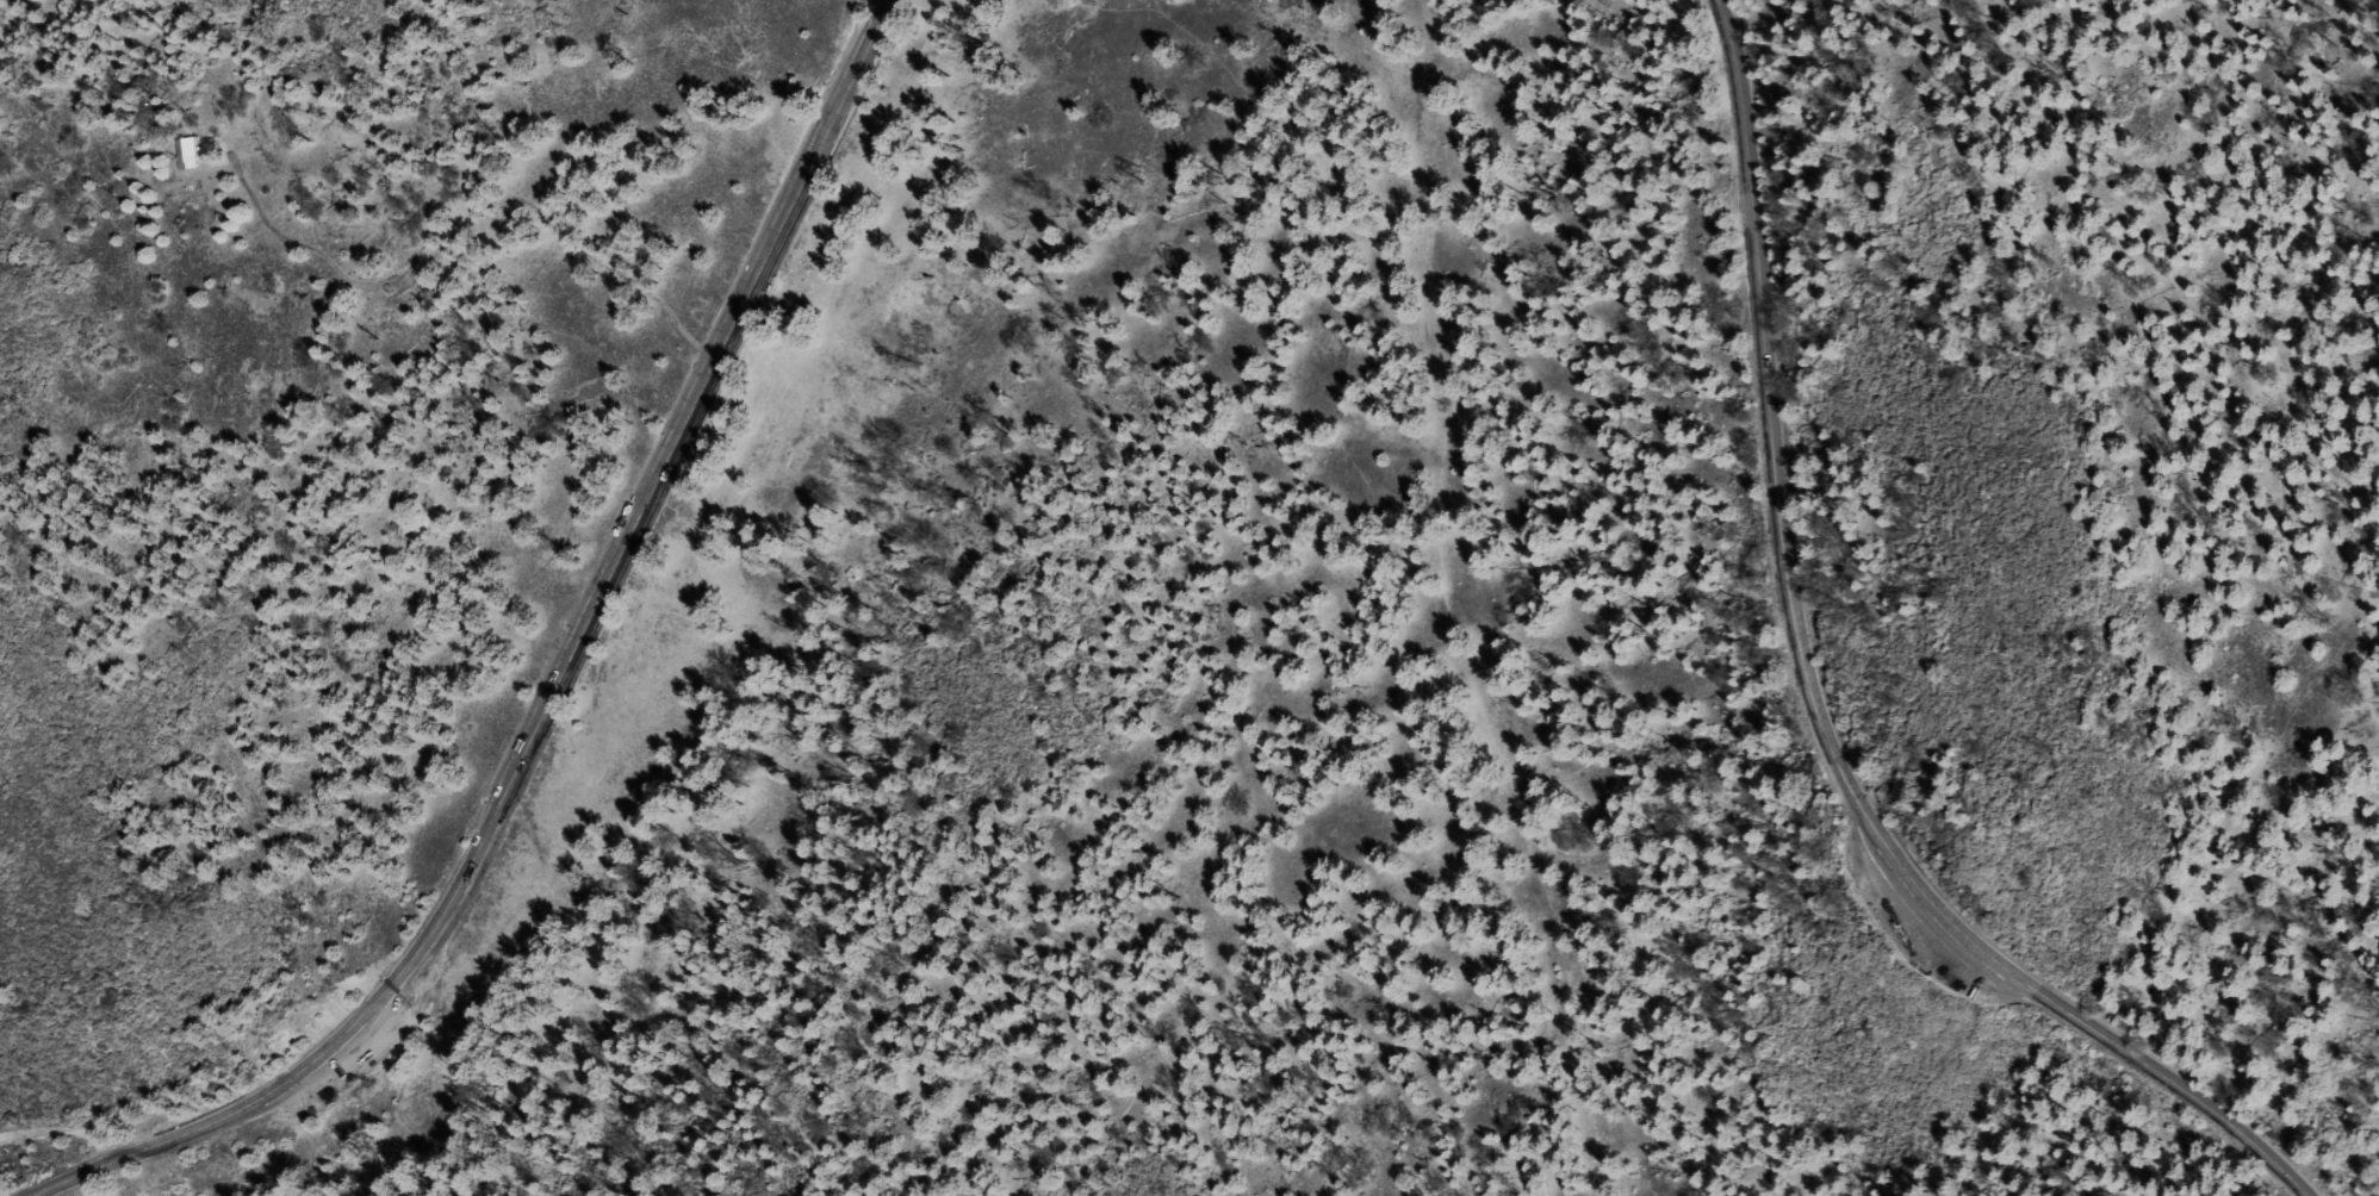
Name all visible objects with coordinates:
road: (863, 17)
building: (186, 152)
road: (768, 305)
parking lot: (672, 438)
road: (560, 683)
road: (1814, 703)
parking lot: (347, 1069)
road: (63, 1134)

